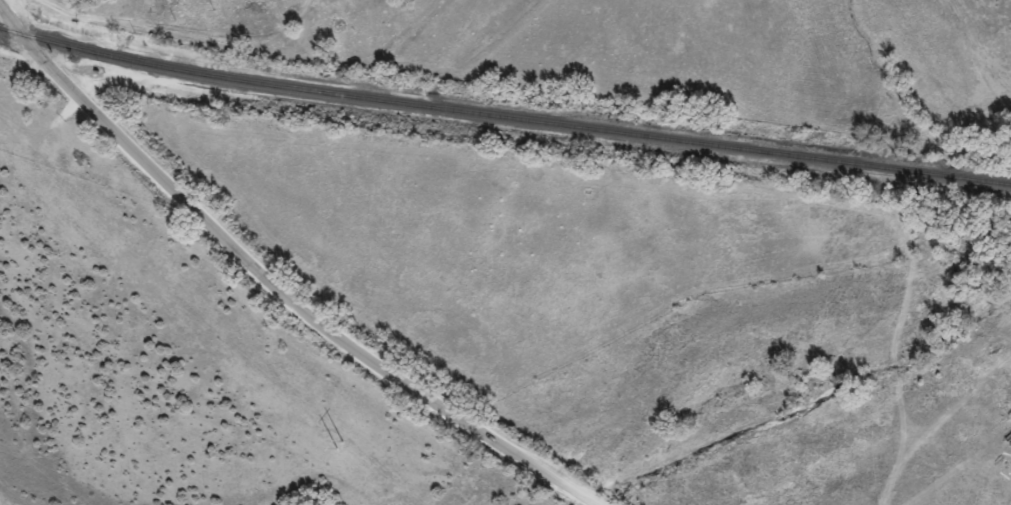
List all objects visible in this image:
railway: (503, 117)
power tower: (145, 267)
road: (278, 280)
power tower: (385, 491)

